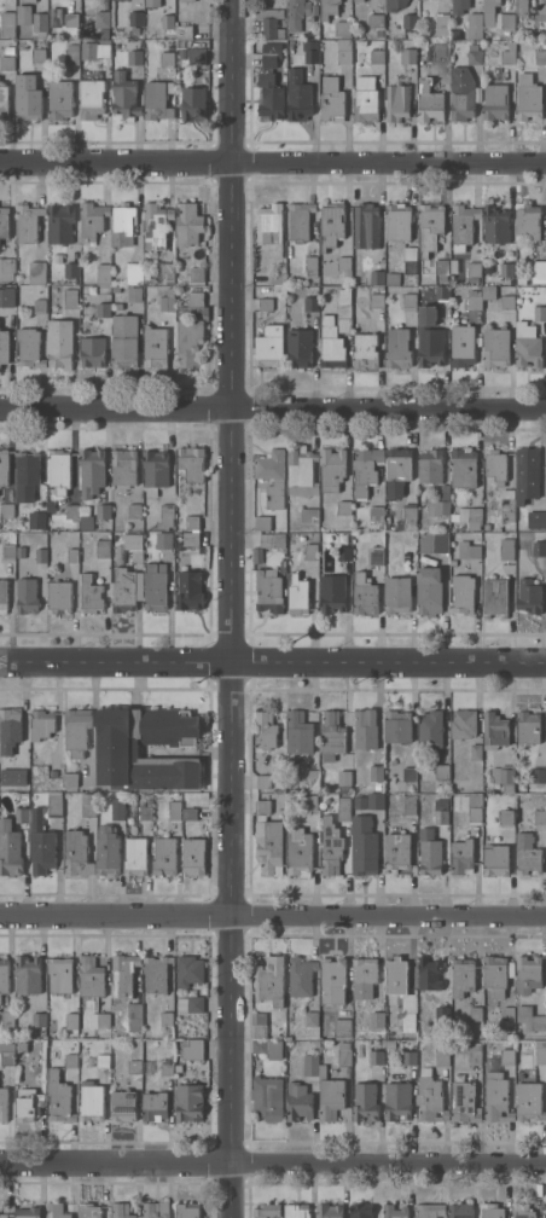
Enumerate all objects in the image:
building: (185, 0)
building: (358, 0)
building: (151, 2)
building: (394, 4)
building: (458, 5)
building: (327, 7)
building: (522, 7)
building: (309, 8)
building: (23, 12)
building: (490, 13)
building: (294, 14)
building: (540, 14)
building: (56, 17)
building: (101, 18)
building: (134, 18)
building: (70, 19)
building: (167, 21)
building: (268, 21)
building: (376, 21)
building: (407, 21)
building: (506, 22)
building: (6, 23)
building: (39, 23)
building: (441, 25)
building: (472, 25)
building: (342, 28)
building: (182, 31)
building: (103, 33)
building: (355, 33)
building: (103, 48)
building: (7, 50)
building: (310, 51)
building: (343, 51)
building: (37, 54)
building: (70, 54)
building: (507, 54)
building: (196, 56)
building: (376, 56)
building: (407, 56)
building: (134, 57)
building: (441, 57)
building: (472, 57)
building: (540, 57)
building: (165, 59)
building: (6, 62)
building: (324, 66)
building: (271, 82)
building: (123, 95)
building: (298, 95)
building: (460, 97)
building: (27, 98)
building: (91, 98)
building: (528, 98)
building: (59, 99)
building: (156, 99)
building: (365, 100)
building: (428, 100)
building: (2, 101)
building: (333, 101)
building: (494, 101)
building: (396, 103)
building: (192, 104)
road: (272, 166)
building: (92, 219)
building: (528, 220)
building: (5, 221)
building: (301, 221)
building: (400, 221)
building: (29, 222)
building: (463, 222)
building: (60, 224)
building: (123, 224)
building: (157, 224)
building: (332, 224)
building: (496, 224)
building: (188, 225)
building: (368, 226)
building: (428, 227)
building: (272, 228)
building: (57, 259)
building: (411, 260)
building: (345, 265)
building: (6, 266)
building: (313, 266)
building: (441, 266)
building: (472, 268)
building: (70, 269)
building: (506, 269)
building: (539, 271)
building: (37, 273)
building: (134, 273)
building: (167, 273)
building: (104, 274)
building: (197, 275)
building: (277, 278)
building: (377, 278)
building: (393, 278)
building: (521, 280)
building: (442, 291)
building: (489, 291)
building: (134, 292)
building: (150, 295)
building: (377, 296)
building: (7, 297)
building: (70, 297)
building: (168, 300)
building: (475, 301)
building: (409, 302)
building: (506, 302)
building: (312, 303)
building: (267, 304)
building: (40, 307)
building: (116, 307)
building: (193, 307)
building: (103, 309)
building: (540, 313)
building: (337, 332)
building: (429, 337)
building: (124, 341)
building: (190, 342)
building: (60, 343)
building: (4, 346)
building: (463, 346)
building: (527, 346)
building: (495, 347)
building: (155, 348)
building: (301, 348)
building: (399, 348)
building: (29, 349)
building: (269, 350)
building: (92, 352)
building: (367, 352)
road: (272, 414)
building: (192, 463)
building: (400, 464)
building: (495, 465)
building: (333, 466)
building: (430, 466)
building: (4, 468)
building: (463, 468)
building: (124, 469)
building: (366, 470)
building: (59, 471)
building: (92, 471)
building: (156, 471)
building: (302, 471)
building: (527, 474)
building: (28, 475)
building: (273, 477)
building: (420, 497)
building: (440, 503)
building: (51, 506)
building: (344, 507)
building: (7, 510)
building: (506, 510)
building: (72, 511)
building: (104, 511)
building: (134, 511)
building: (309, 515)
building: (405, 515)
building: (377, 516)
building: (165, 517)
building: (467, 517)
building: (86, 520)
building: (536, 520)
building: (36, 521)
building: (192, 522)
building: (263, 523)
building: (443, 526)
building: (486, 526)
building: (365, 536)
building: (187, 539)
building: (164, 540)
building: (273, 540)
building: (133, 541)
building: (434, 543)
building: (103, 549)
building: (506, 549)
building: (539, 549)
building: (467, 550)
building: (310, 551)
building: (8, 552)
building: (22, 552)
building: (120, 553)
building: (344, 553)
building: (408, 553)
building: (41, 555)
building: (257, 555)
building: (377, 555)
building: (72, 556)
building: (453, 562)
building: (156, 587)
building: (268, 590)
building: (123, 591)
building: (188, 591)
building: (429, 591)
building: (333, 592)
building: (89, 594)
building: (298, 594)
building: (366, 594)
building: (399, 594)
building: (463, 594)
building: (4, 596)
building: (27, 596)
building: (529, 596)
building: (493, 597)
building: (59, 598)
road: (231, 609)
road: (273, 662)
building: (463, 723)
building: (41, 724)
building: (399, 726)
building: (528, 726)
building: (10, 729)
building: (366, 729)
building: (430, 729)
building: (494, 729)
building: (77, 730)
building: (267, 730)
building: (300, 732)
building: (332, 736)
building: (118, 752)
building: (475, 752)
building: (53, 772)
building: (441, 772)
building: (377, 773)
building: (409, 773)
building: (538, 773)
building: (13, 776)
building: (503, 776)
building: (70, 779)
building: (313, 779)
building: (345, 779)
building: (265, 781)
building: (391, 784)
building: (378, 785)
building: (376, 800)
building: (310, 802)
building: (361, 802)
building: (54, 804)
building: (88, 804)
building: (411, 804)
building: (265, 806)
building: (475, 806)
building: (117, 807)
building: (344, 808)
building: (145, 810)
building: (175, 810)
building: (440, 811)
building: (22, 812)
building: (190, 813)
building: (506, 817)
building: (539, 817)
building: (42, 845)
building: (271, 845)
building: (365, 846)
building: (332, 847)
building: (10, 849)
building: (399, 851)
building: (108, 852)
building: (300, 852)
building: (429, 852)
building: (77, 853)
building: (193, 854)
building: (527, 854)
building: (136, 855)
building: (165, 855)
building: (461, 857)
building: (495, 859)
road: (273, 915)
building: (188, 970)
building: (156, 973)
building: (429, 973)
building: (28, 974)
building: (60, 974)
building: (123, 974)
building: (364, 974)
building: (496, 974)
building: (527, 974)
building: (4, 975)
building: (301, 975)
building: (91, 976)
building: (461, 976)
building: (331, 980)
building: (269, 981)
building: (400, 992)
building: (190, 1003)
building: (134, 1011)
building: (475, 1013)
building: (506, 1013)
building: (440, 1014)
building: (167, 1017)
building: (310, 1019)
building: (376, 1019)
building: (530, 1019)
building: (7, 1020)
building: (99, 1020)
building: (71, 1021)
building: (260, 1025)
building: (36, 1026)
building: (342, 1028)
building: (388, 1032)
building: (390, 1044)
building: (527, 1044)
building: (260, 1045)
building: (22, 1046)
building: (192, 1049)
building: (274, 1050)
building: (467, 1050)
building: (540, 1052)
building: (6, 1054)
building: (344, 1054)
building: (441, 1055)
building: (507, 1056)
building: (374, 1057)
building: (408, 1057)
building: (71, 1061)
building: (103, 1063)
building: (134, 1066)
building: (310, 1066)
building: (167, 1067)
building: (330, 1096)
building: (430, 1096)
building: (529, 1096)
building: (59, 1097)
building: (266, 1098)
building: (91, 1101)
building: (496, 1101)
building: (188, 1102)
building: (298, 1102)
building: (365, 1102)
building: (397, 1102)
building: (4, 1103)
building: (29, 1103)
building: (464, 1103)
building: (123, 1106)
building: (153, 1106)
road: (272, 1162)
building: (89, 1210)
building: (159, 1210)
building: (186, 1210)
building: (361, 1210)
building: (460, 1210)
building: (490, 1210)
building: (57, 1211)
building: (122, 1211)
building: (268, 1211)
building: (297, 1211)
building: (330, 1211)
building: (429, 1211)
building: (522, 1211)
building: (29, 1212)
building: (395, 1212)
building: (545, 1212)
building: (4, 1214)

